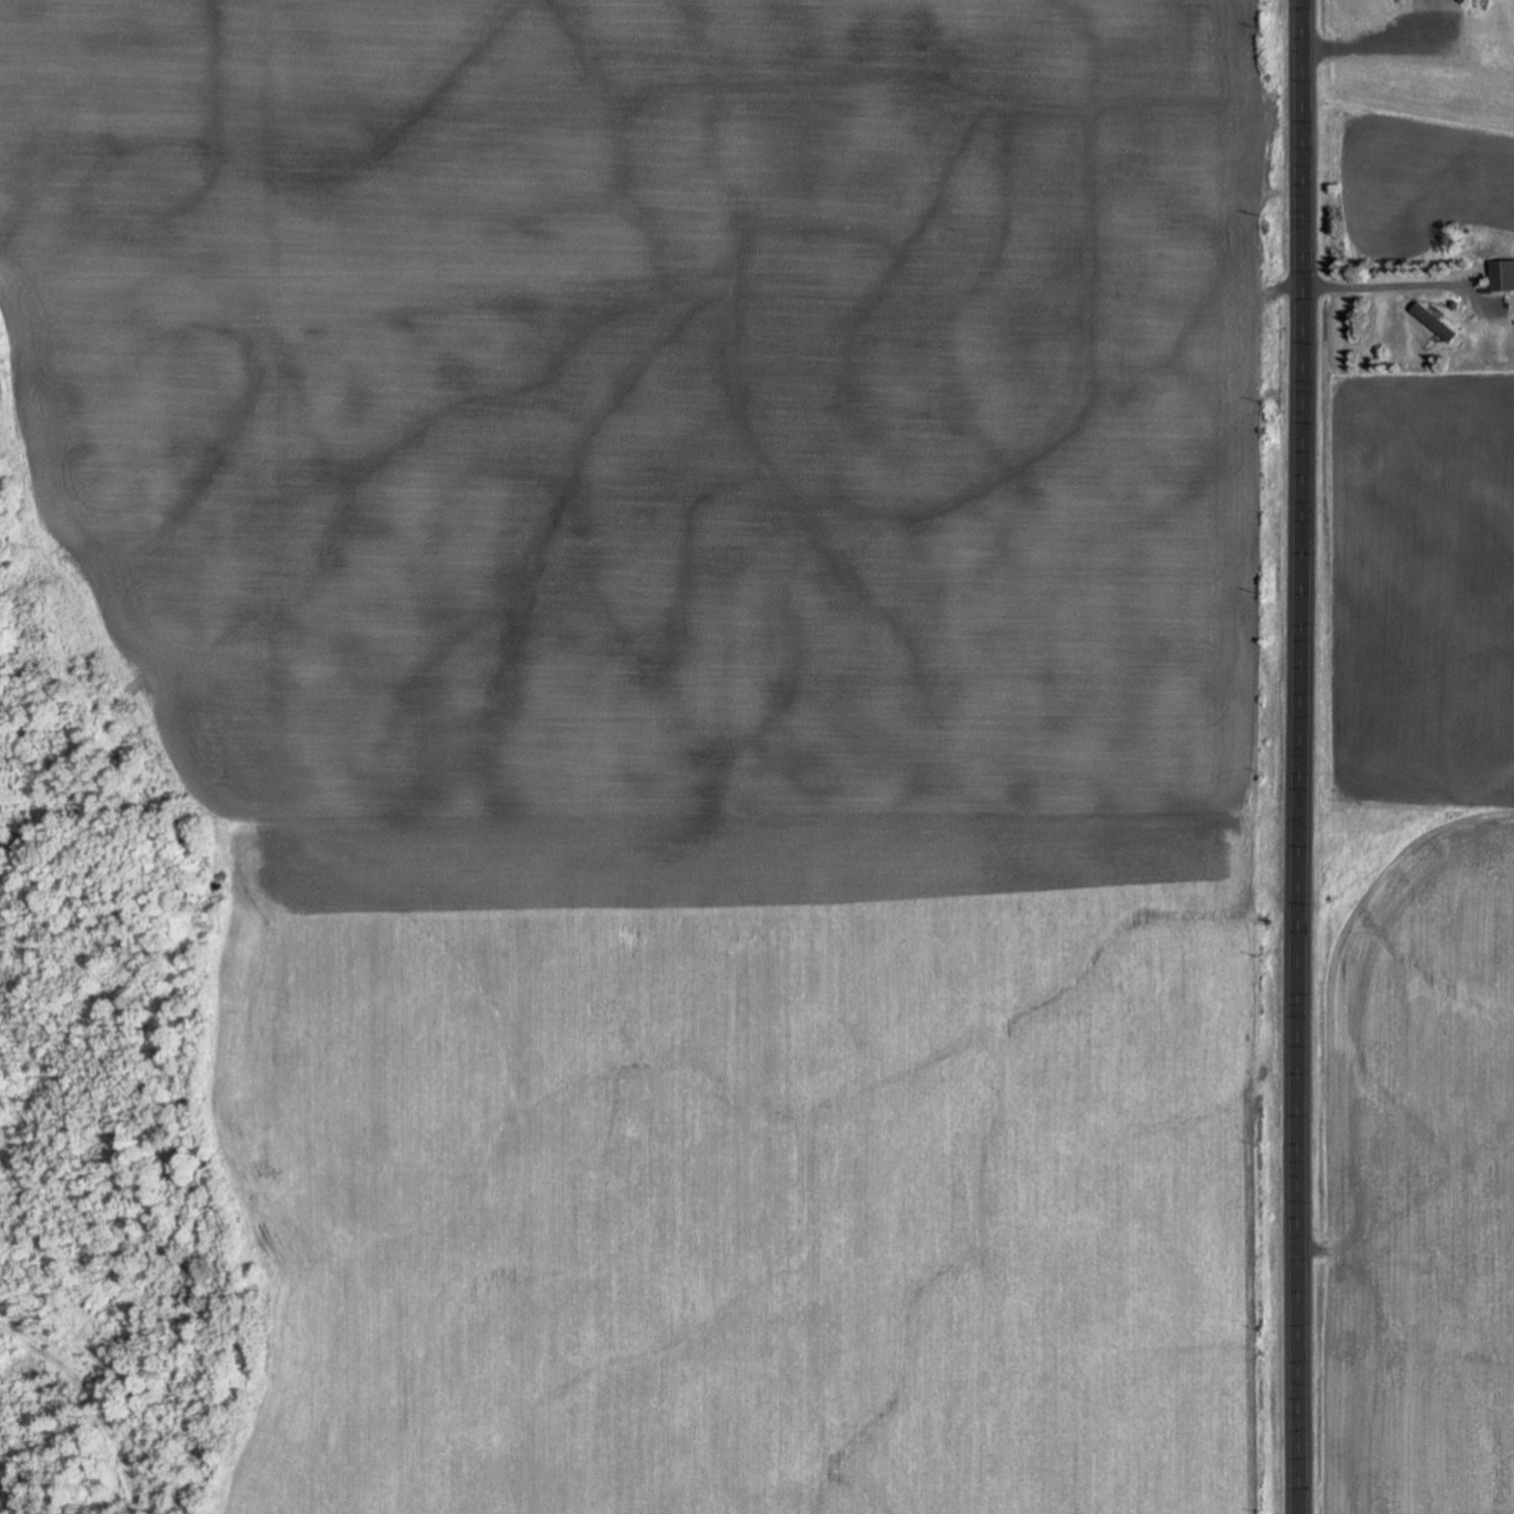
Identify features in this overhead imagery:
building: (1428, 6)
building: (1501, 275)
building: (1435, 321)
road: (1302, 757)

